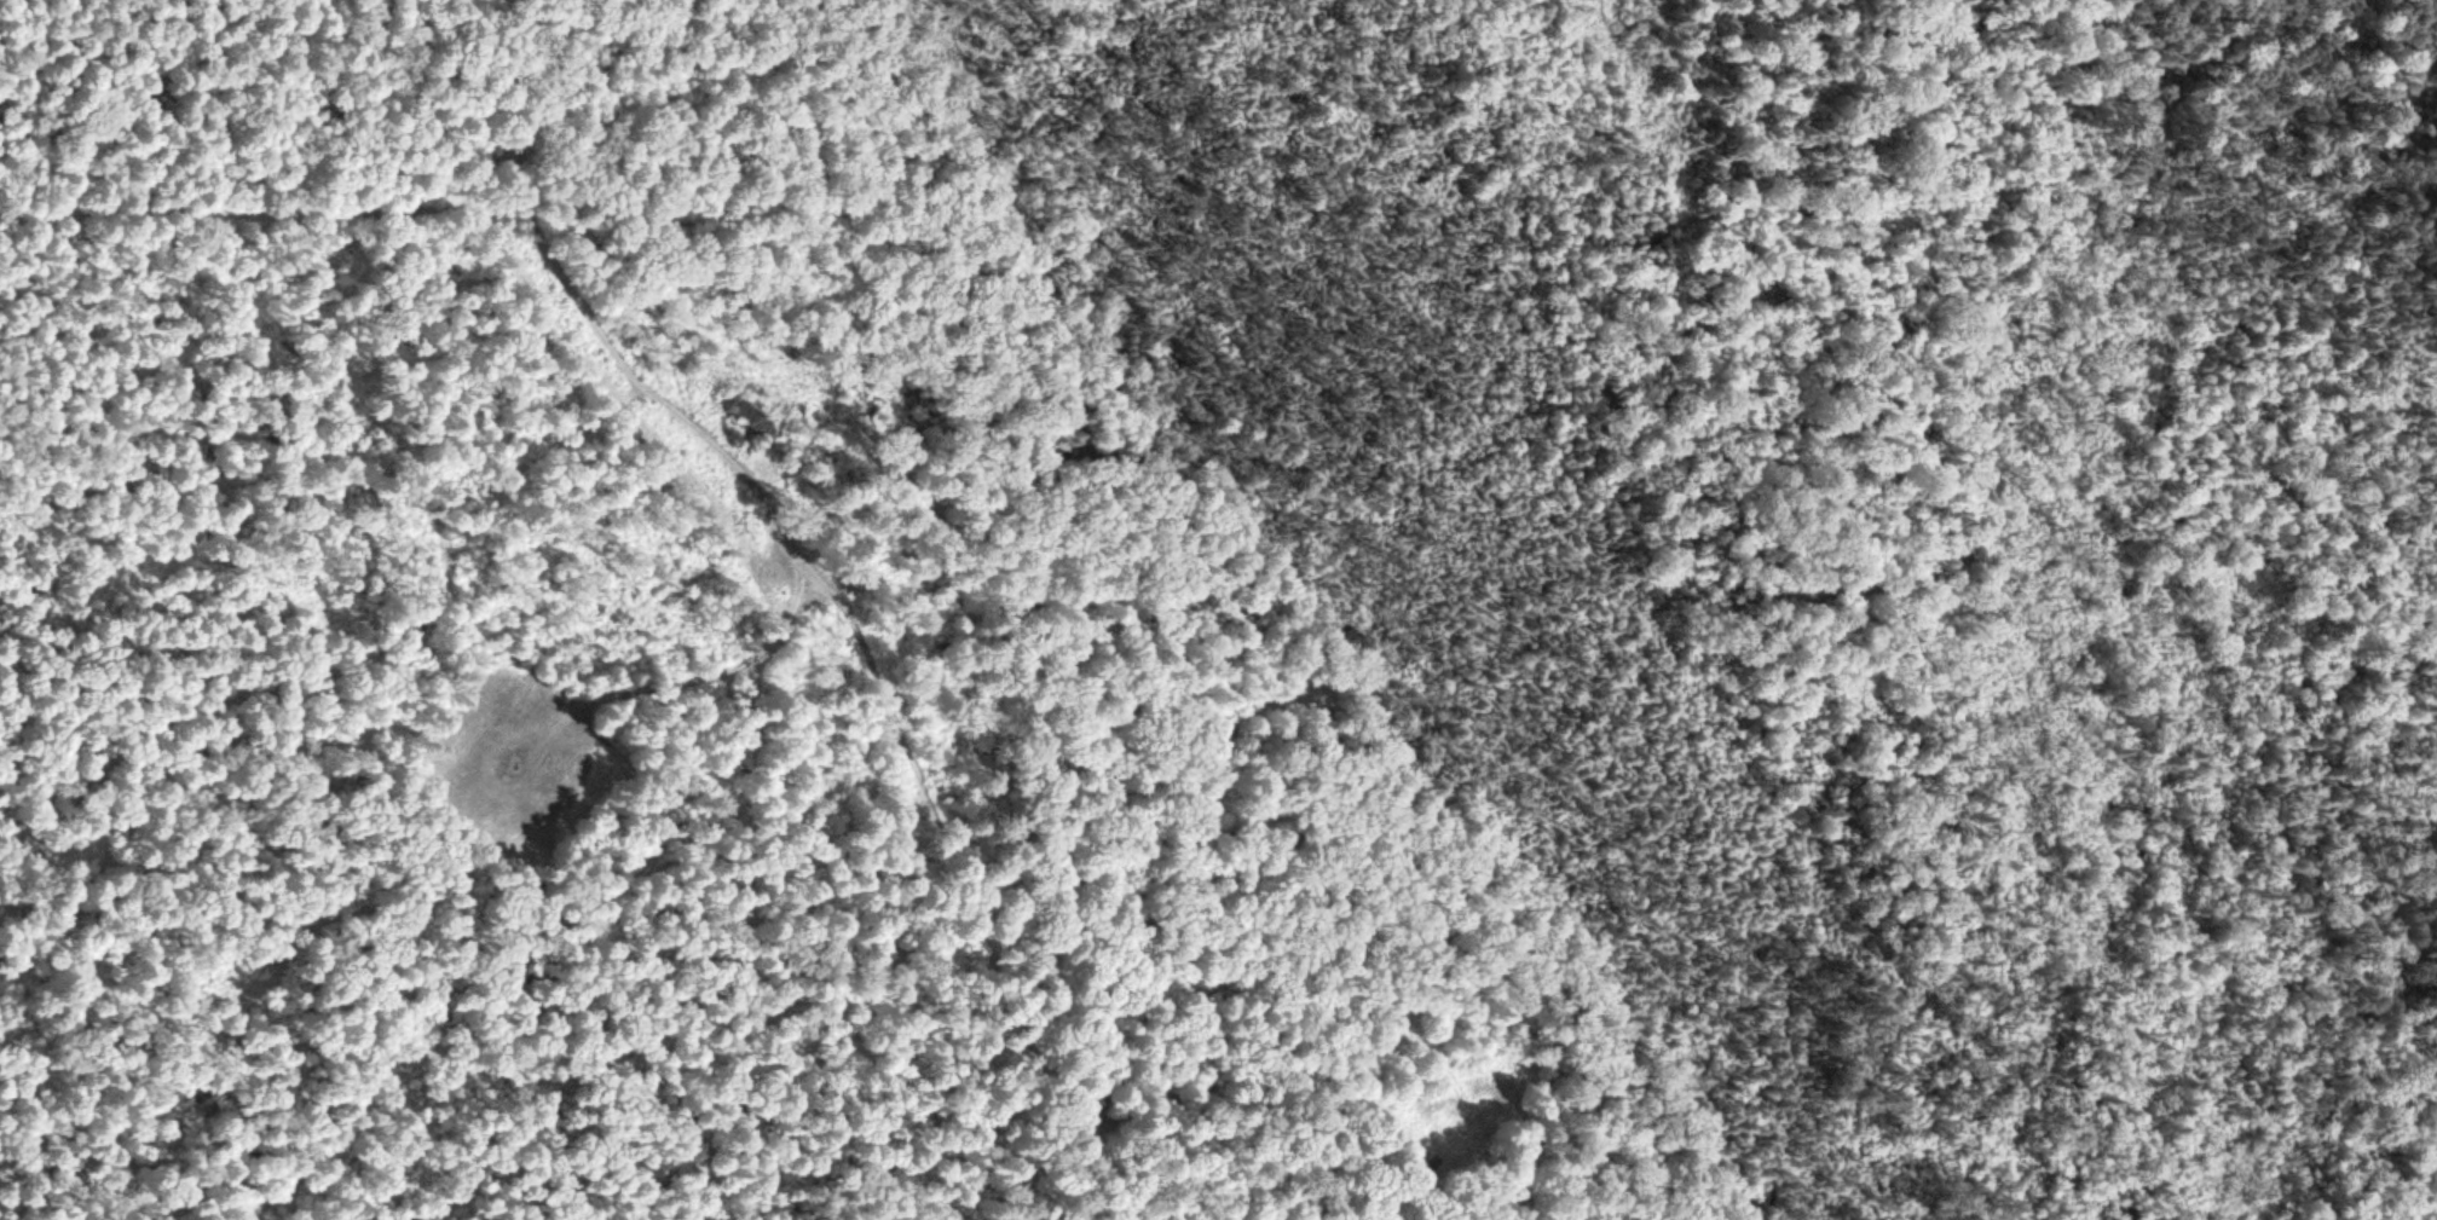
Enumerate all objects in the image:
road: (815, 580)

